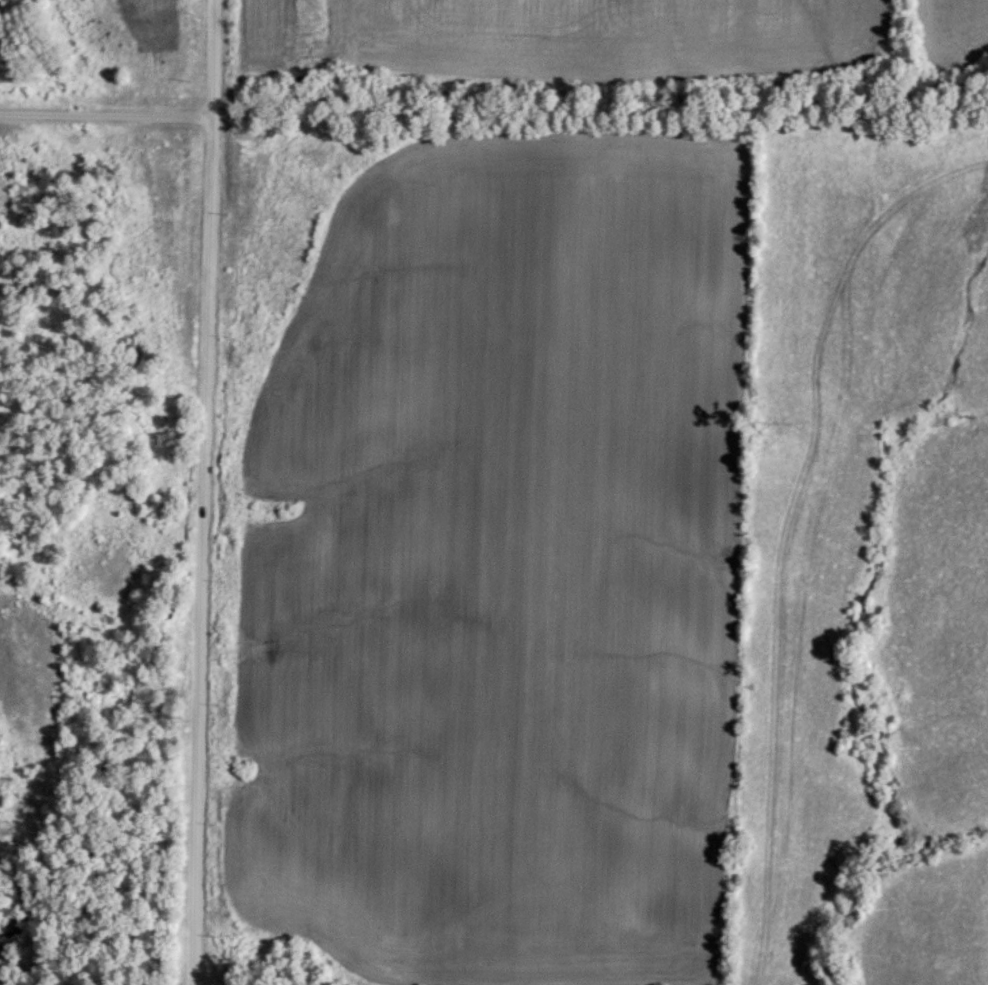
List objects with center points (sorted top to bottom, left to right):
road: (106, 116)
road: (206, 492)

